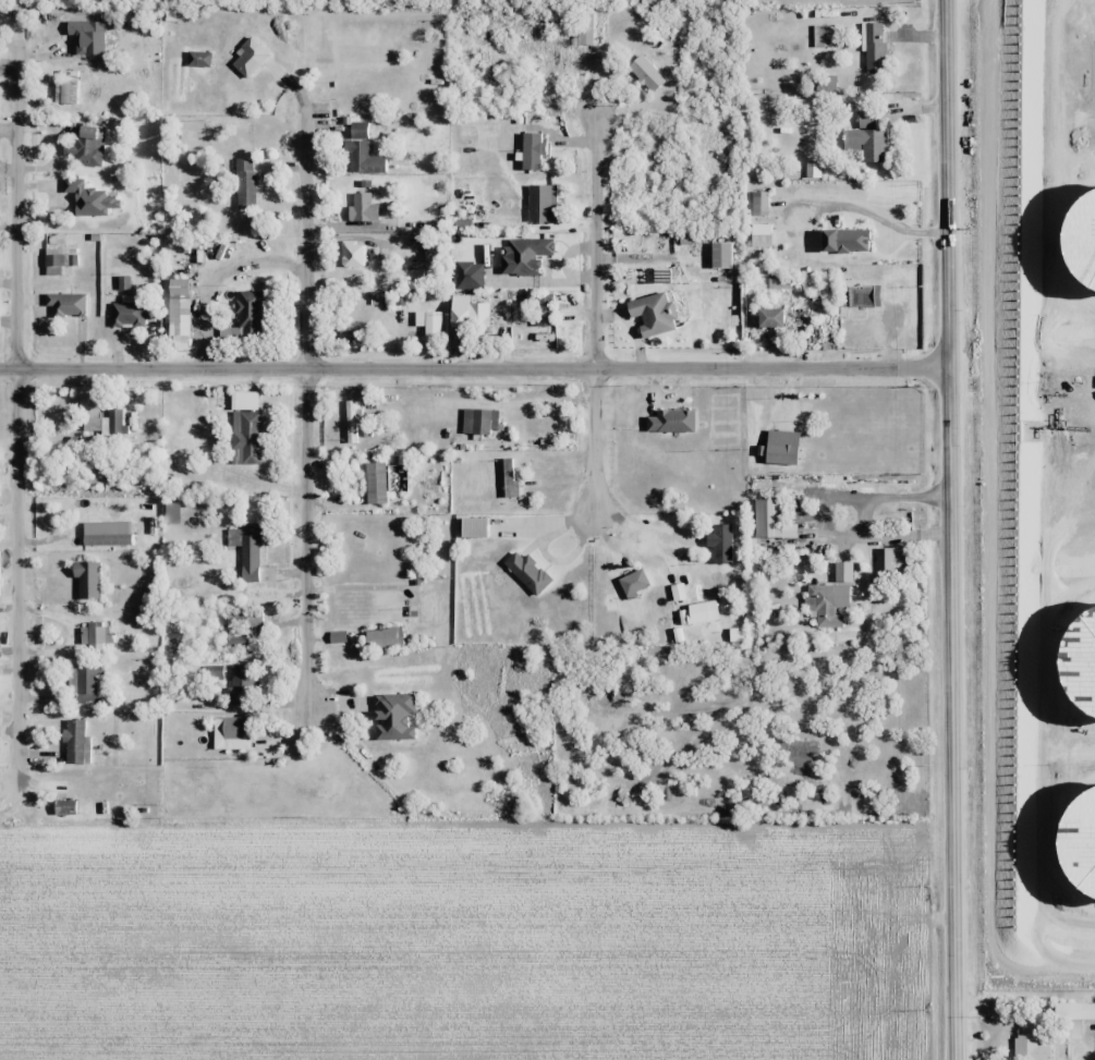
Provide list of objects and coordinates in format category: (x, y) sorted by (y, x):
building: (52, 20)
building: (584, 29)
building: (87, 31)
building: (825, 35)
building: (873, 48)
building: (198, 59)
building: (645, 73)
building: (825, 84)
building: (63, 87)
building: (197, 92)
building: (865, 138)
building: (89, 147)
building: (362, 151)
building: (245, 184)
building: (88, 198)
building: (540, 204)
building: (363, 208)
building: (689, 239)
building: (524, 254)
building: (720, 255)
building: (352, 256)
building: (60, 260)
building: (656, 272)
building: (862, 296)
building: (65, 305)
building: (543, 310)
building: (178, 314)
building: (467, 314)
building: (131, 315)
building: (248, 316)
road: (596, 318)
building: (769, 318)
building: (362, 319)
road: (475, 368)
road: (309, 402)
building: (250, 404)
building: (351, 422)
building: (670, 422)
building: (478, 423)
building: (107, 424)
road: (23, 426)
building: (509, 479)
building: (380, 483)
crop: (1035, 488)
building: (767, 519)
building: (480, 528)
road: (952, 529)
building: (720, 544)
building: (247, 549)
building: (892, 561)
building: (526, 572)
building: (633, 582)
building: (826, 605)
building: (430, 607)
building: (729, 614)
building: (238, 628)
building: (381, 639)
building: (93, 641)
building: (212, 673)
building: (82, 681)
building: (239, 685)
building: (231, 733)
building: (74, 742)
building: (64, 807)
building: (1074, 1010)
building: (1027, 1040)

